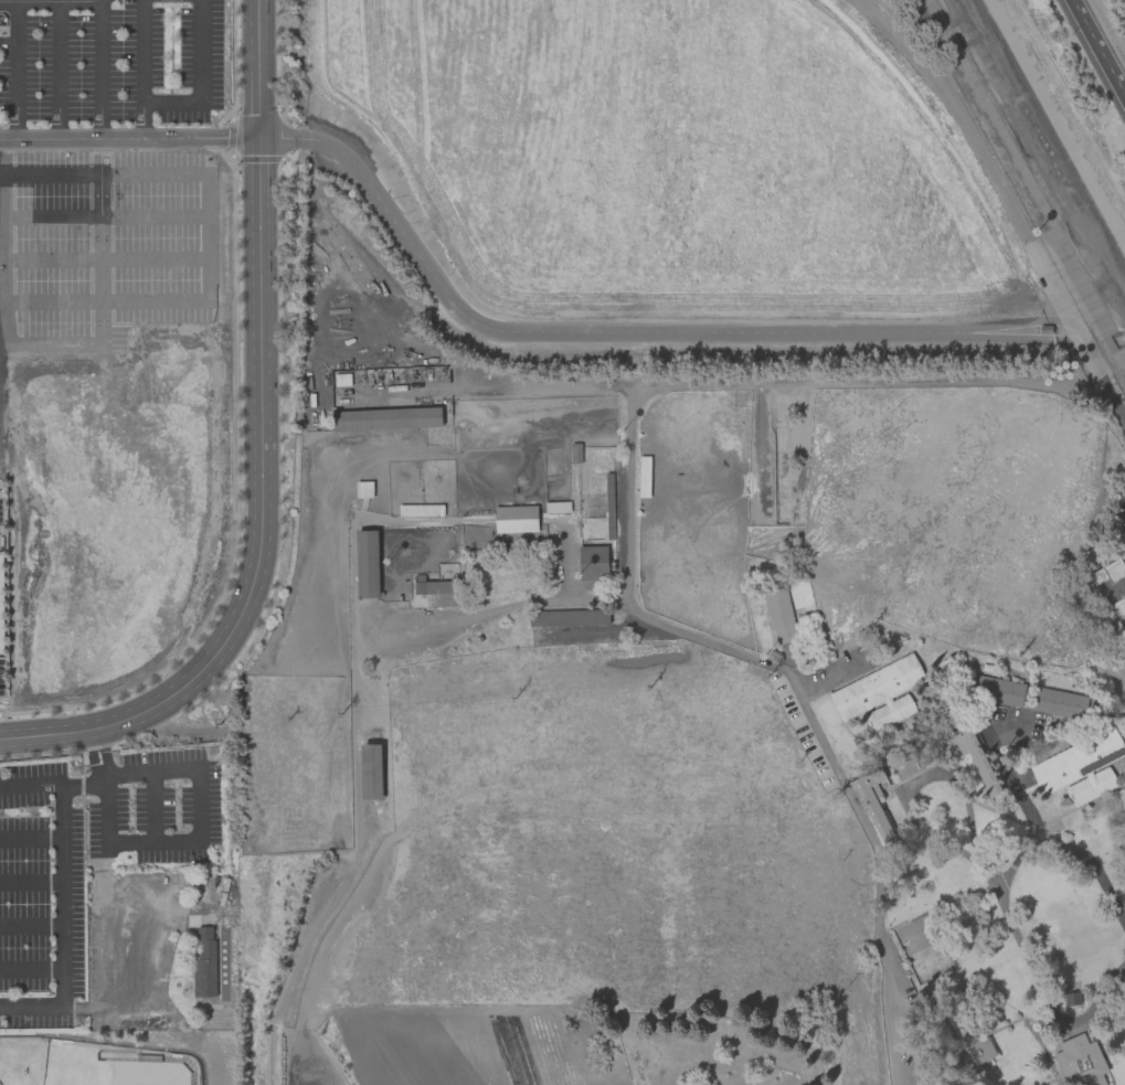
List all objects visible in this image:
road: (47, 1)
road: (1101, 43)
parking lot: (109, 63)
road: (99, 68)
road: (141, 68)
road: (250, 68)
road: (266, 68)
road: (17, 70)
road: (57, 70)
road: (200, 76)
road: (240, 104)
road: (232, 135)
road: (174, 137)
traffic signals: (251, 137)
road: (258, 137)
traffic signals: (267, 137)
road: (50, 138)
road: (259, 158)
road: (241, 171)
road: (1009, 204)
road: (106, 216)
road: (209, 236)
road: (100, 240)
parking lot: (104, 243)
road: (106, 257)
road: (6, 295)
road: (618, 331)
road: (493, 386)
building: (390, 418)
road: (253, 513)
road: (237, 519)
building: (516, 519)
road: (269, 526)
road: (627, 568)
building: (423, 573)
building: (1110, 585)
building: (435, 594)
road: (489, 614)
building: (779, 616)
building: (996, 690)
building: (879, 694)
building: (1059, 703)
road: (102, 743)
road: (93, 752)
building: (973, 755)
road: (360, 760)
road: (106, 764)
building: (1080, 767)
building: (370, 770)
road: (100, 774)
road: (41, 784)
road: (200, 795)
parking lot: (153, 804)
road: (152, 809)
road: (106, 817)
road: (1042, 831)
road: (32, 838)
road: (32, 881)
parking lot: (40, 895)
road: (64, 896)
road: (32, 924)
building: (1090, 957)
building: (205, 964)
building: (931, 966)
road: (32, 969)
building: (1071, 998)
road: (1105, 1006)
road: (43, 1009)
building: (967, 1041)
road: (636, 1061)
building: (1081, 1061)
park: (115, 1072)

